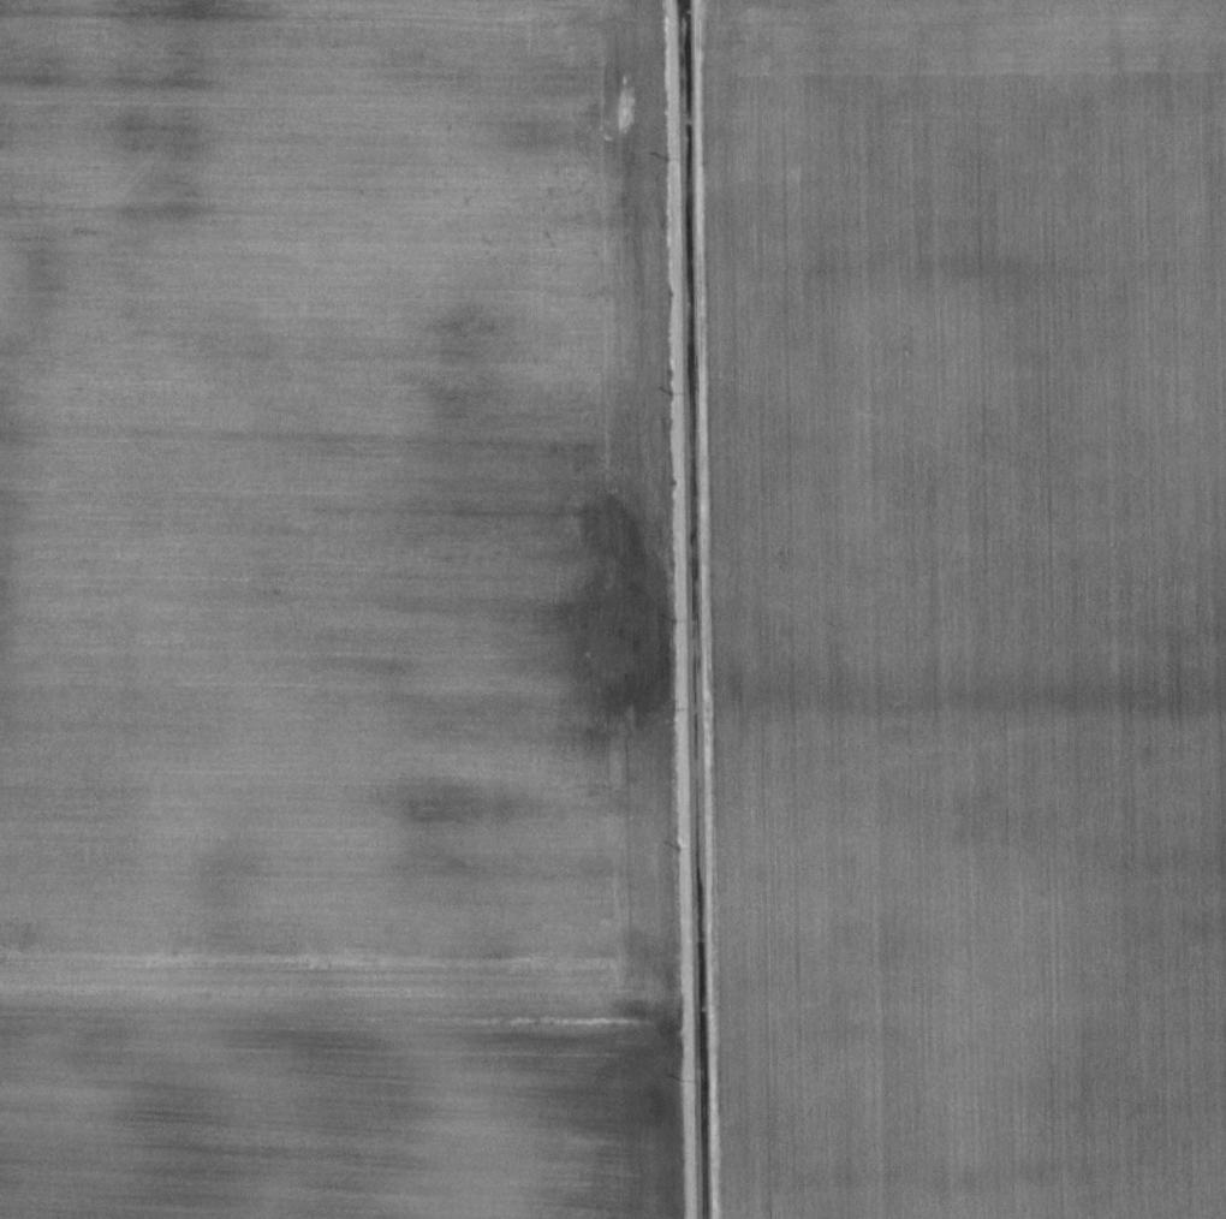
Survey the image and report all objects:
road: (690, 609)

